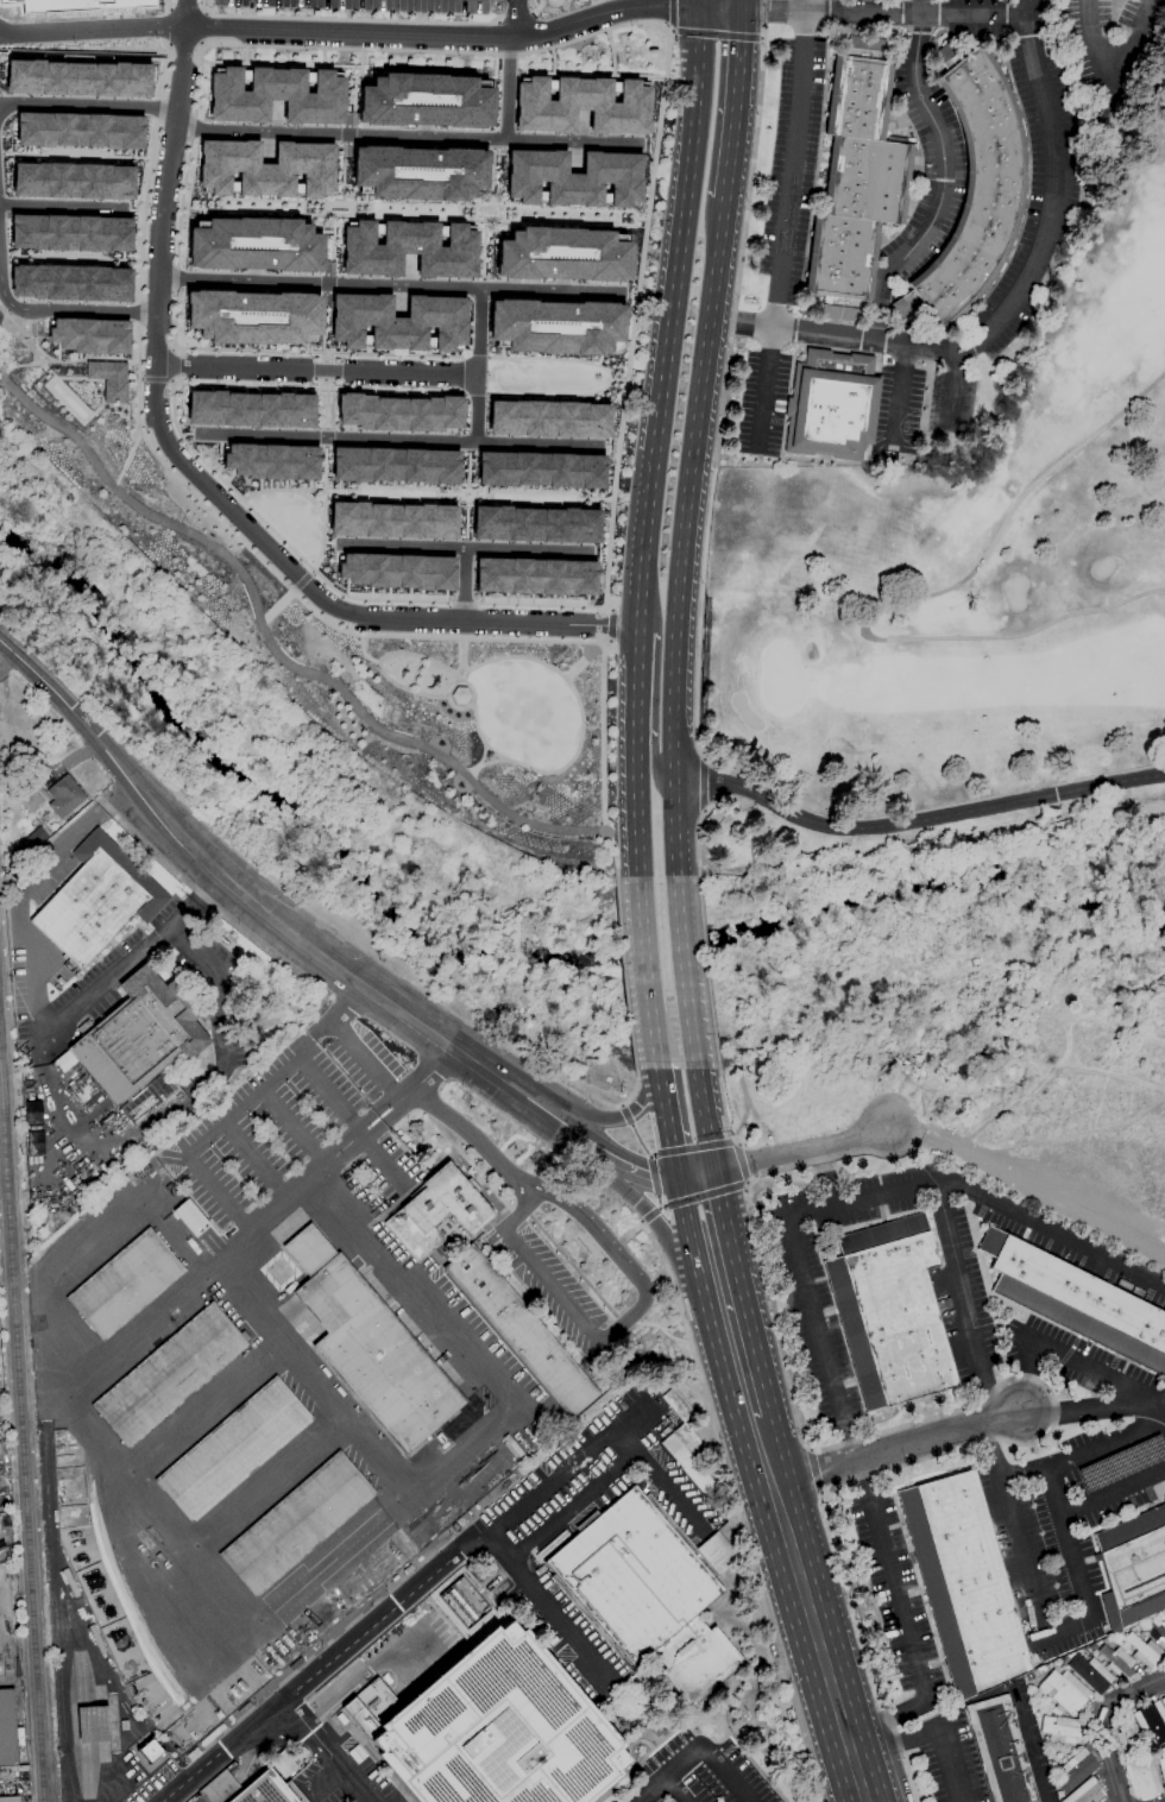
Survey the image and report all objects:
road: (697, 2)
parking lot: (363, 4)
building: (82, 5)
traffic signals: (697, 6)
road: (741, 6)
traffic signals: (741, 12)
road: (184, 13)
road: (881, 13)
road: (673, 15)
road: (516, 20)
road: (718, 33)
road: (372, 34)
road: (183, 40)
road: (200, 43)
road: (402, 50)
road: (1116, 55)
road: (164, 68)
building: (77, 78)
road: (508, 88)
building: (275, 94)
road: (733, 99)
building: (424, 100)
building: (580, 103)
road: (88, 105)
road: (157, 108)
road: (191, 127)
building: (78, 131)
road: (407, 134)
building: (264, 169)
building: (417, 172)
road: (943, 176)
building: (572, 178)
building: (71, 179)
building: (856, 181)
building: (974, 190)
parking lot: (933, 196)
road: (276, 200)
road: (180, 202)
road: (63, 207)
road: (548, 208)
road: (134, 209)
road: (143, 209)
road: (409, 216)
road: (788, 221)
building: (69, 233)
building: (253, 244)
building: (408, 247)
building: (562, 254)
road: (175, 278)
building: (69, 282)
road: (390, 285)
road: (6, 300)
road: (1008, 305)
road: (84, 309)
road: (138, 311)
building: (253, 316)
road: (669, 317)
building: (397, 322)
building: (555, 326)
building: (89, 335)
road: (172, 348)
road: (290, 351)
road: (322, 357)
road: (473, 357)
road: (476, 365)
road: (315, 368)
road: (323, 370)
road: (169, 378)
road: (607, 378)
road: (626, 378)
building: (108, 379)
road: (139, 379)
road: (617, 379)
road: (725, 379)
road: (171, 382)
road: (955, 382)
road: (325, 383)
road: (472, 392)
road: (900, 393)
building: (832, 405)
building: (250, 408)
building: (398, 411)
building: (548, 417)
park: (901, 427)
road: (178, 434)
road: (395, 439)
road: (126, 460)
building: (272, 461)
building: (393, 465)
building: (540, 470)
road: (207, 487)
building: (392, 519)
building: (534, 523)
road: (684, 534)
road: (464, 547)
road: (310, 571)
building: (397, 571)
building: (534, 576)
road: (245, 579)
park: (965, 579)
road: (301, 580)
road: (462, 585)
road: (289, 591)
road: (894, 599)
road: (462, 603)
road: (276, 605)
road: (607, 606)
road: (611, 625)
park: (347, 635)
road: (363, 653)
road: (461, 655)
road: (379, 660)
road: (537, 661)
road: (635, 692)
road: (473, 693)
building: (461, 695)
road: (602, 758)
road: (479, 765)
road: (655, 767)
road: (471, 770)
road: (547, 771)
road: (636, 780)
road: (706, 781)
building: (32, 796)
building: (64, 796)
road: (915, 820)
building: (36, 837)
road: (698, 840)
road: (637, 843)
building: (99, 900)
road: (215, 908)
road: (277, 916)
river: (498, 956)
road: (644, 965)
road: (707, 971)
road: (625, 975)
road: (687, 977)
road: (218, 987)
road: (39, 993)
building: (84, 1027)
building: (141, 1034)
road: (351, 1040)
parking lot: (364, 1060)
road: (656, 1060)
building: (64, 1061)
road: (631, 1096)
road: (243, 1108)
road: (624, 1114)
road: (728, 1114)
road: (617, 1117)
road: (704, 1117)
road: (668, 1122)
road: (294, 1128)
road: (467, 1130)
road: (354, 1139)
road: (638, 1139)
building: (33, 1142)
parking lot: (286, 1145)
road: (694, 1149)
road: (799, 1151)
road: (258, 1159)
road: (742, 1164)
traffic signals: (709, 1166)
traffic signals: (680, 1172)
road: (648, 1174)
road: (655, 1180)
road: (1027, 1192)
road: (704, 1198)
road: (711, 1202)
road: (687, 1206)
building: (437, 1212)
road: (521, 1212)
road: (650, 1216)
building: (191, 1218)
road: (659, 1223)
road: (1051, 1228)
road: (628, 1235)
road: (100, 1245)
parking lot: (1053, 1249)
road: (572, 1267)
road: (644, 1281)
parking lot: (547, 1283)
parking lot: (976, 1283)
building: (125, 1284)
building: (1077, 1302)
road: (808, 1304)
road: (731, 1306)
parking lot: (460, 1309)
building: (889, 1311)
road: (625, 1321)
building: (521, 1331)
road: (663, 1331)
parking lot: (951, 1336)
parking lot: (820, 1337)
parking lot: (1009, 1338)
building: (370, 1346)
parking lot: (1092, 1351)
road: (1062, 1355)
building: (170, 1374)
parking lot: (1078, 1378)
road: (999, 1388)
building: (678, 1404)
road: (1095, 1406)
road: (1160, 1410)
railway: (21, 1428)
parking lot: (1081, 1438)
road: (896, 1441)
road: (96, 1448)
building: (233, 1449)
building: (688, 1455)
road: (452, 1462)
parking lot: (1120, 1463)
building: (1121, 1463)
road: (1020, 1473)
road: (275, 1475)
parking lot: (597, 1482)
road: (661, 1482)
road: (1112, 1491)
building: (1164, 1499)
parking lot: (1120, 1506)
road: (738, 1510)
road: (562, 1512)
building: (297, 1524)
road: (341, 1554)
parking lot: (1041, 1563)
building: (1133, 1569)
building: (963, 1583)
building: (649, 1590)
road: (807, 1592)
parking lot: (896, 1594)
road: (398, 1601)
building: (461, 1603)
road: (57, 1614)
road: (1084, 1617)
road: (558, 1619)
building: (1158, 1632)
parking lot: (565, 1636)
building: (1146, 1652)
building: (1117, 1662)
building: (1091, 1674)
building: (1065, 1690)
building: (1163, 1702)
building: (1151, 1720)
road: (1097, 1721)
building: (93, 1724)
building: (124, 1725)
building: (7, 1728)
building: (492, 1729)
building: (1064, 1729)
road: (933, 1733)
building: (1128, 1737)
building: (1001, 1750)
building: (150, 1751)
road: (325, 1751)
parking lot: (950, 1758)
building: (1161, 1765)
road: (1035, 1769)
building: (1075, 1770)
road: (672, 1772)
road: (325, 1773)
parking lot: (700, 1773)
road: (726, 1773)
parking lot: (345, 1776)
building: (1142, 1777)
building: (250, 1789)
road: (676, 1790)
building: (1085, 1792)
building: (10, 1798)
building: (670, 1801)

